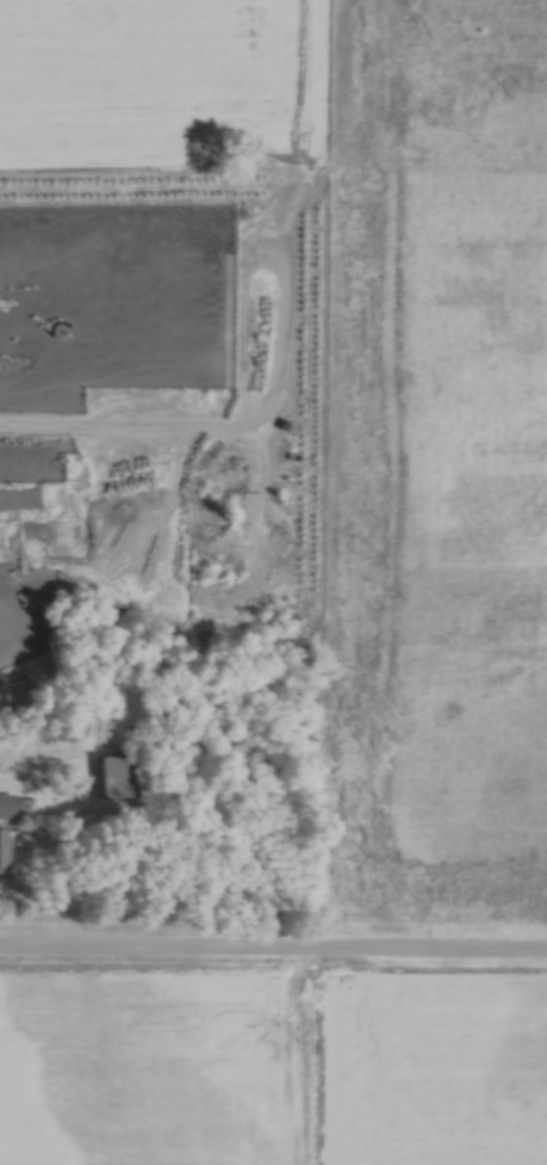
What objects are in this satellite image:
building: (19, 498)
road: (58, 756)
building: (117, 775)
building: (6, 805)
building: (2, 849)
road: (273, 948)

